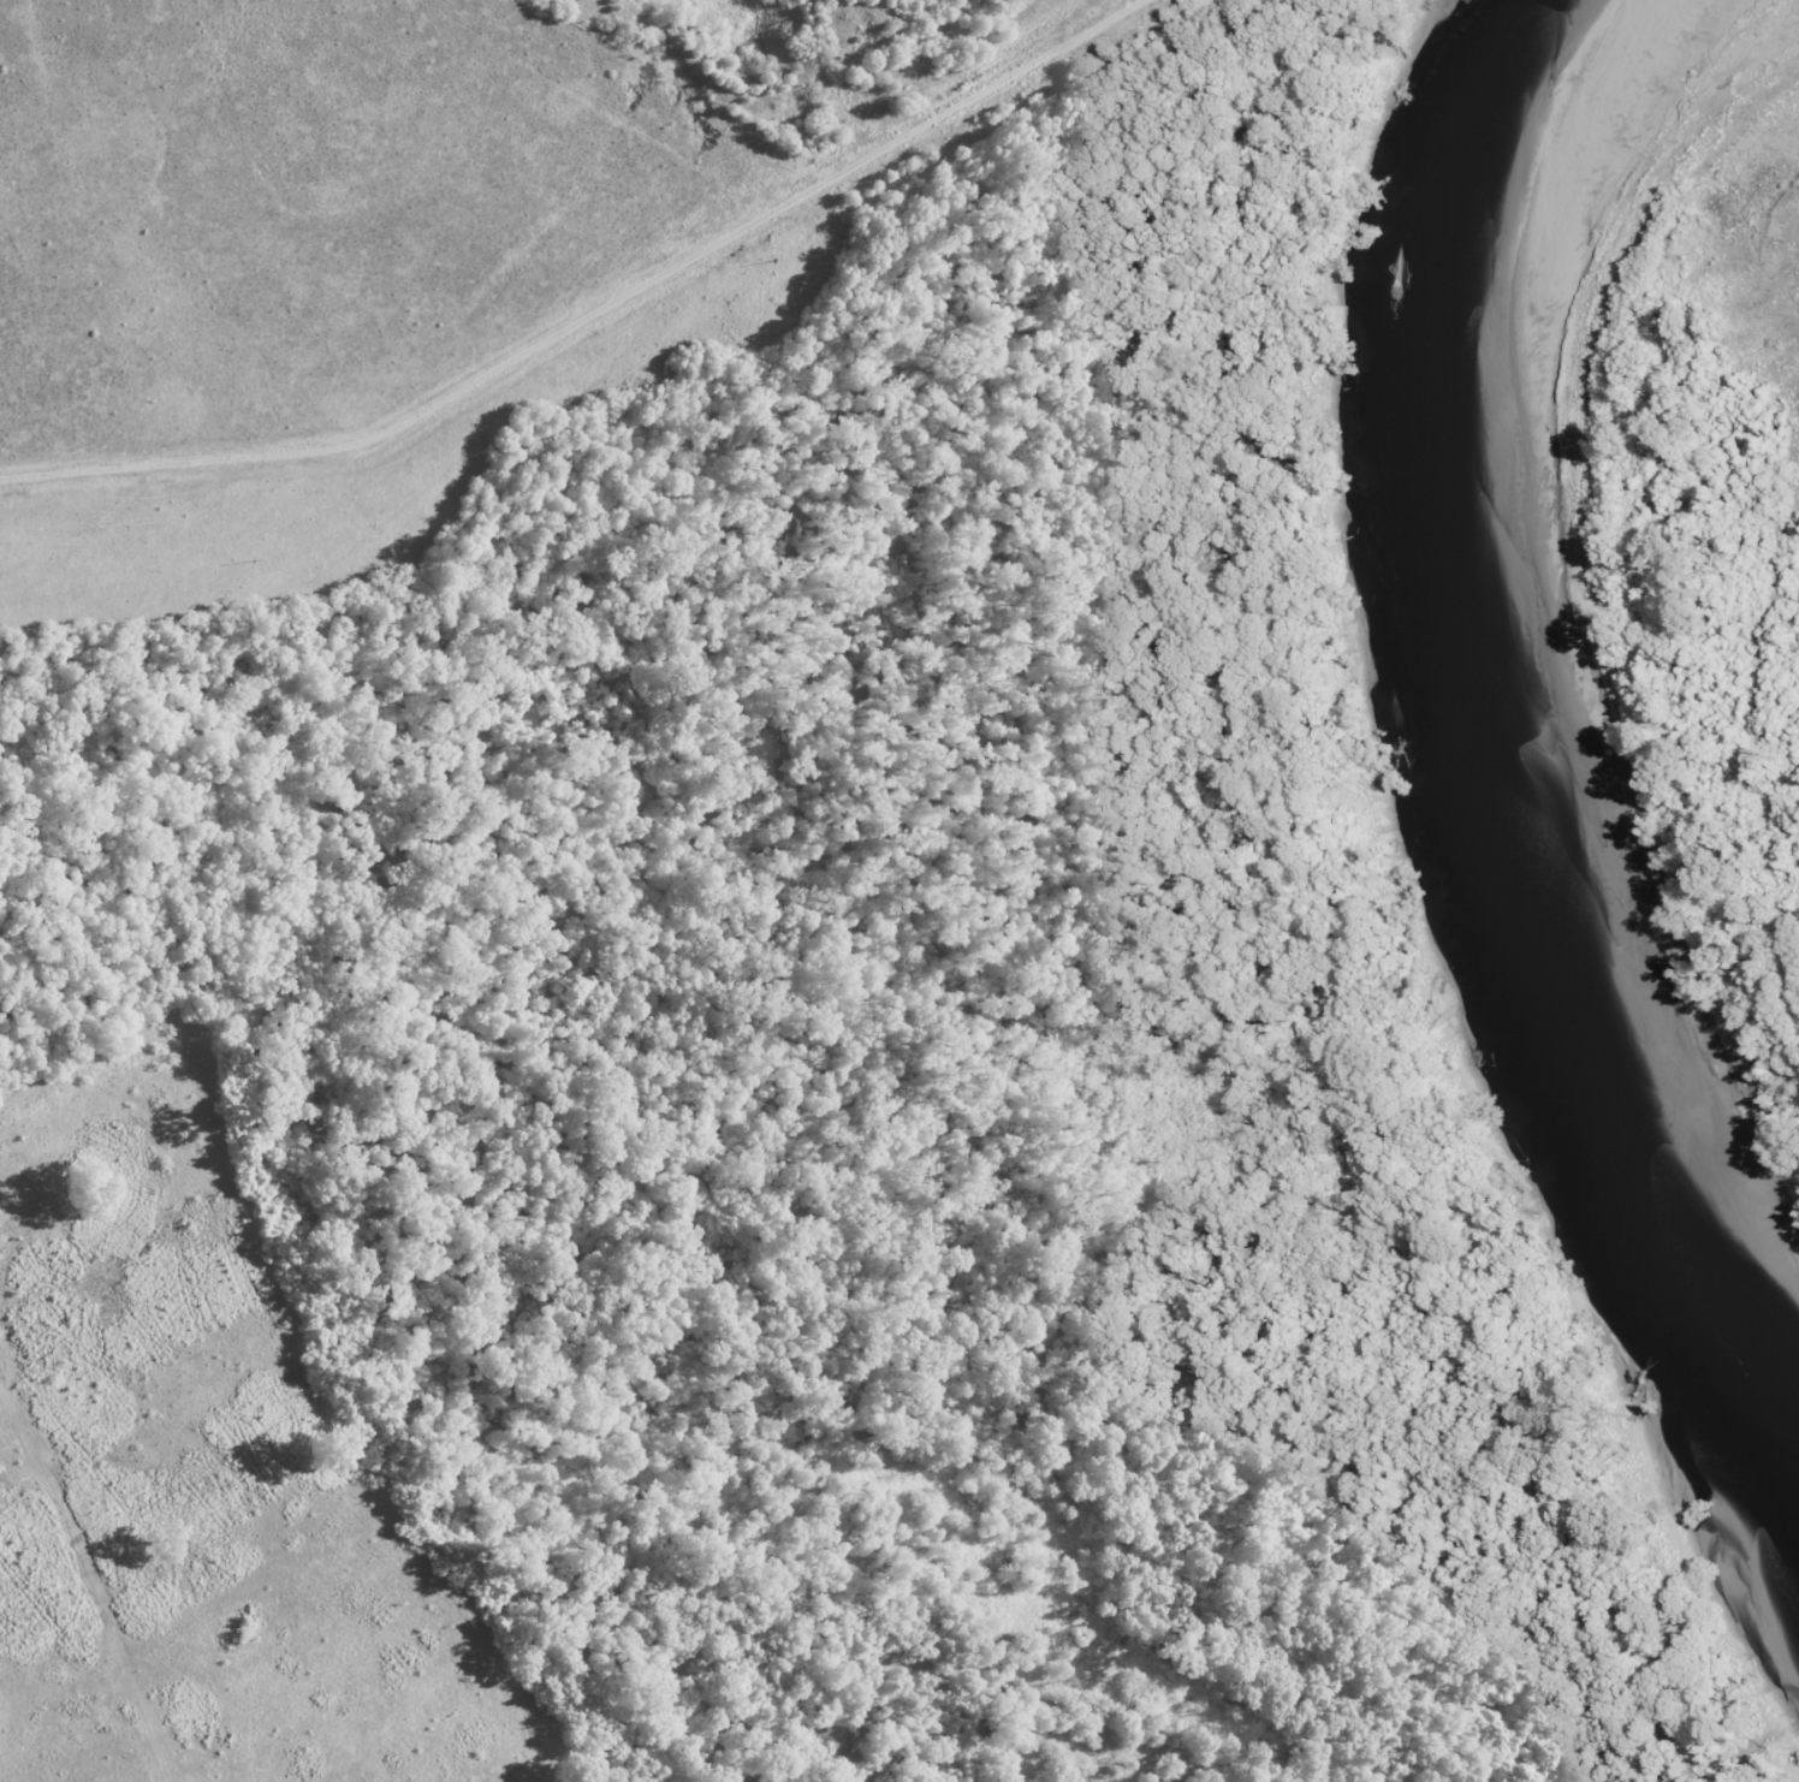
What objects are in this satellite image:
river: (1507, 772)

